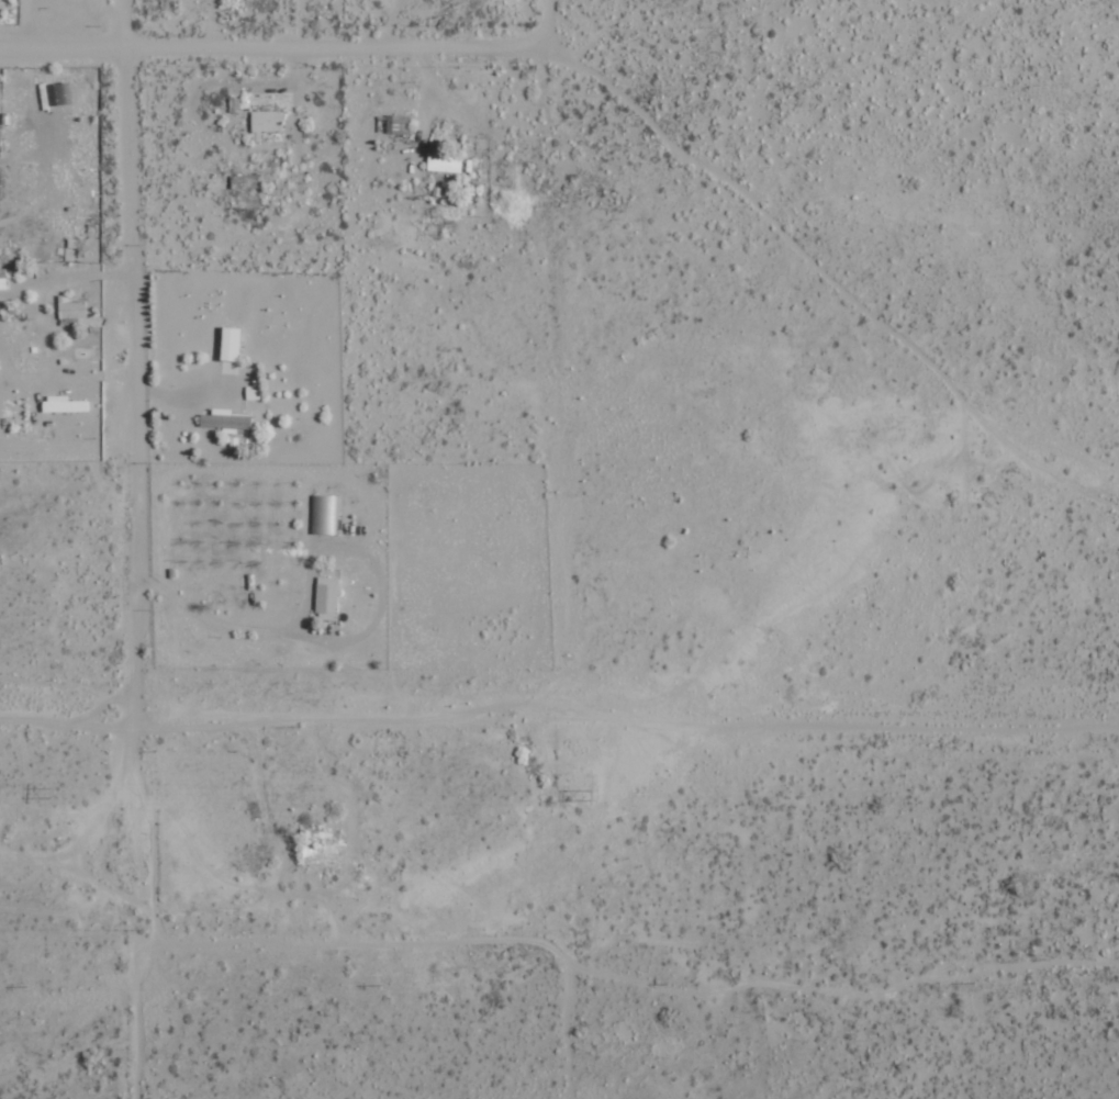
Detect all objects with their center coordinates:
road: (546, 21)
road: (271, 44)
building: (266, 123)
building: (444, 161)
building: (3, 279)
building: (71, 309)
building: (231, 344)
road: (124, 363)
building: (253, 392)
building: (64, 404)
building: (225, 419)
building: (325, 514)
building: (327, 598)

